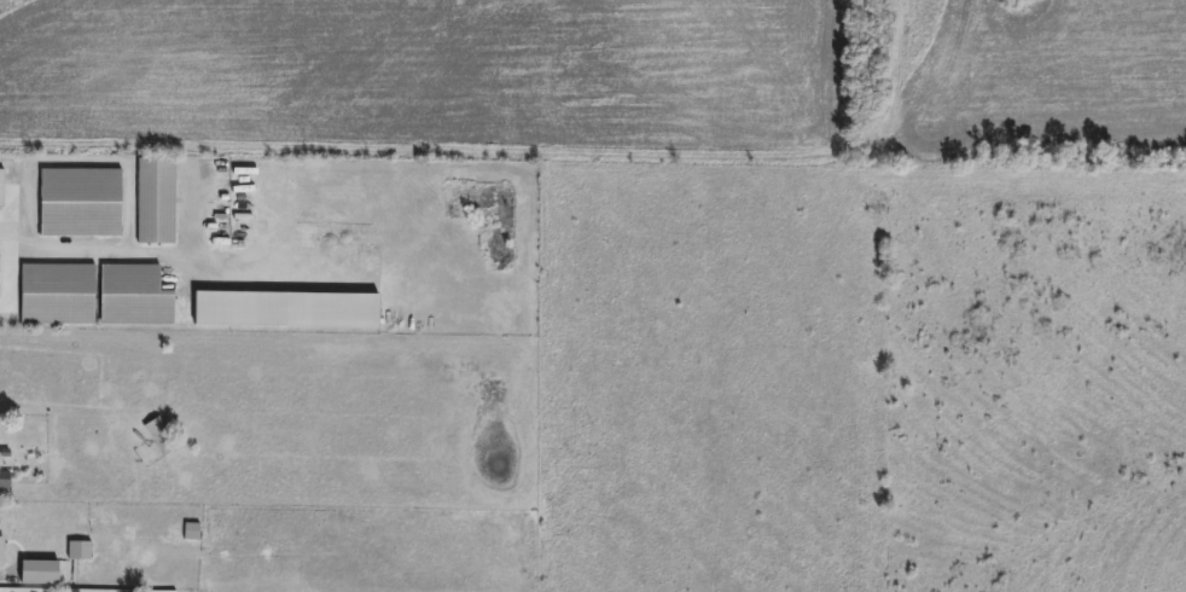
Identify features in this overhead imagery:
building: (1, 190)
building: (156, 203)
building: (80, 204)
road: (10, 231)
building: (58, 295)
building: (134, 297)
building: (159, 437)
building: (2, 481)
building: (76, 552)

